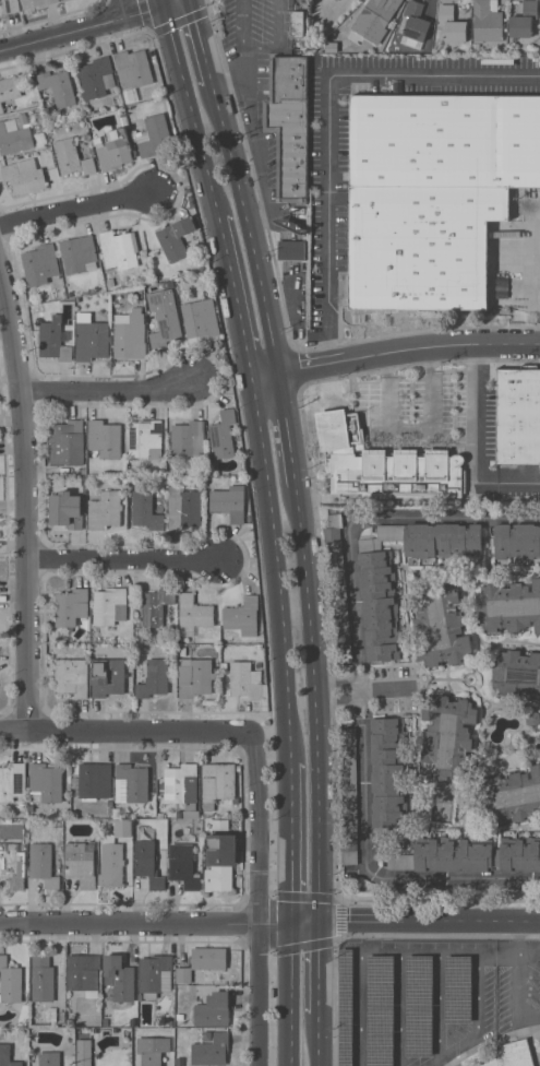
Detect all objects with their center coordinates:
building: (0, 0)
building: (335, 0)
road: (160, 1)
building: (36, 2)
traffic signals: (161, 2)
building: (11, 5)
road: (127, 5)
building: (379, 12)
building: (524, 19)
building: (416, 21)
building: (488, 21)
building: (297, 23)
building: (453, 23)
road: (83, 25)
road: (201, 40)
road: (259, 46)
building: (476, 46)
building: (536, 48)
road: (250, 61)
building: (133, 68)
building: (96, 76)
building: (58, 86)
building: (9, 87)
building: (1, 108)
road: (190, 108)
road: (326, 115)
building: (22, 117)
building: (123, 119)
building: (289, 123)
building: (153, 135)
building: (14, 137)
road: (253, 140)
building: (115, 150)
building: (72, 158)
building: (23, 175)
building: (435, 197)
building: (189, 200)
road: (80, 214)
road: (248, 226)
building: (176, 239)
building: (119, 248)
building: (291, 249)
building: (79, 253)
building: (40, 264)
building: (110, 282)
building: (168, 284)
building: (140, 292)
building: (63, 293)
road: (235, 296)
building: (164, 317)
building: (201, 318)
building: (71, 324)
building: (130, 334)
building: (92, 337)
building: (52, 339)
road: (395, 352)
road: (111, 393)
building: (518, 414)
road: (287, 427)
road: (415, 427)
building: (223, 435)
building: (105, 438)
building: (145, 438)
building: (188, 440)
building: (67, 442)
road: (478, 445)
building: (384, 463)
building: (229, 501)
road: (27, 502)
building: (185, 504)
building: (65, 508)
building: (105, 509)
building: (145, 510)
road: (371, 516)
building: (516, 540)
road: (128, 560)
road: (276, 569)
building: (337, 585)
building: (377, 593)
building: (109, 605)
building: (508, 605)
building: (71, 606)
building: (156, 606)
building: (193, 614)
building: (243, 615)
building: (440, 624)
building: (225, 665)
building: (517, 674)
building: (71, 676)
building: (107, 676)
building: (154, 677)
building: (195, 677)
fountain: (470, 678)
building: (247, 680)
road: (361, 687)
road: (363, 689)
road: (315, 700)
building: (532, 716)
road: (107, 733)
building: (447, 736)
building: (387, 774)
building: (12, 780)
building: (93, 780)
building: (46, 781)
building: (131, 782)
building: (218, 782)
building: (182, 786)
building: (348, 795)
building: (509, 795)
park: (442, 799)
building: (109, 802)
building: (110, 810)
building: (117, 813)
building: (160, 815)
building: (136, 820)
building: (216, 824)
road: (290, 841)
building: (113, 854)
building: (469, 854)
building: (220, 861)
building: (147, 862)
building: (43, 863)
building: (81, 863)
building: (13, 864)
building: (183, 865)
road: (369, 880)
road: (260, 881)
road: (305, 896)
traffic signals: (291, 921)
traffic signals: (321, 921)
road: (269, 923)
road: (518, 944)
road: (296, 947)
road: (399, 949)
road: (478, 952)
building: (202, 961)
road: (320, 966)
building: (83, 972)
building: (155, 974)
building: (43, 978)
building: (119, 978)
building: (10, 981)
building: (458, 988)
road: (518, 990)
road: (478, 992)
road: (289, 993)
road: (439, 1002)
building: (420, 1005)
building: (346, 1007)
road: (359, 1008)
road: (400, 1008)
building: (213, 1009)
building: (381, 1009)
road: (529, 1012)
building: (52, 1014)
building: (70, 1021)
building: (106, 1021)
building: (178, 1022)
road: (319, 1039)
road: (458, 1042)
building: (84, 1046)
building: (152, 1049)
building: (211, 1050)
building: (514, 1053)
building: (7, 1056)
building: (49, 1058)
road: (432, 1059)

